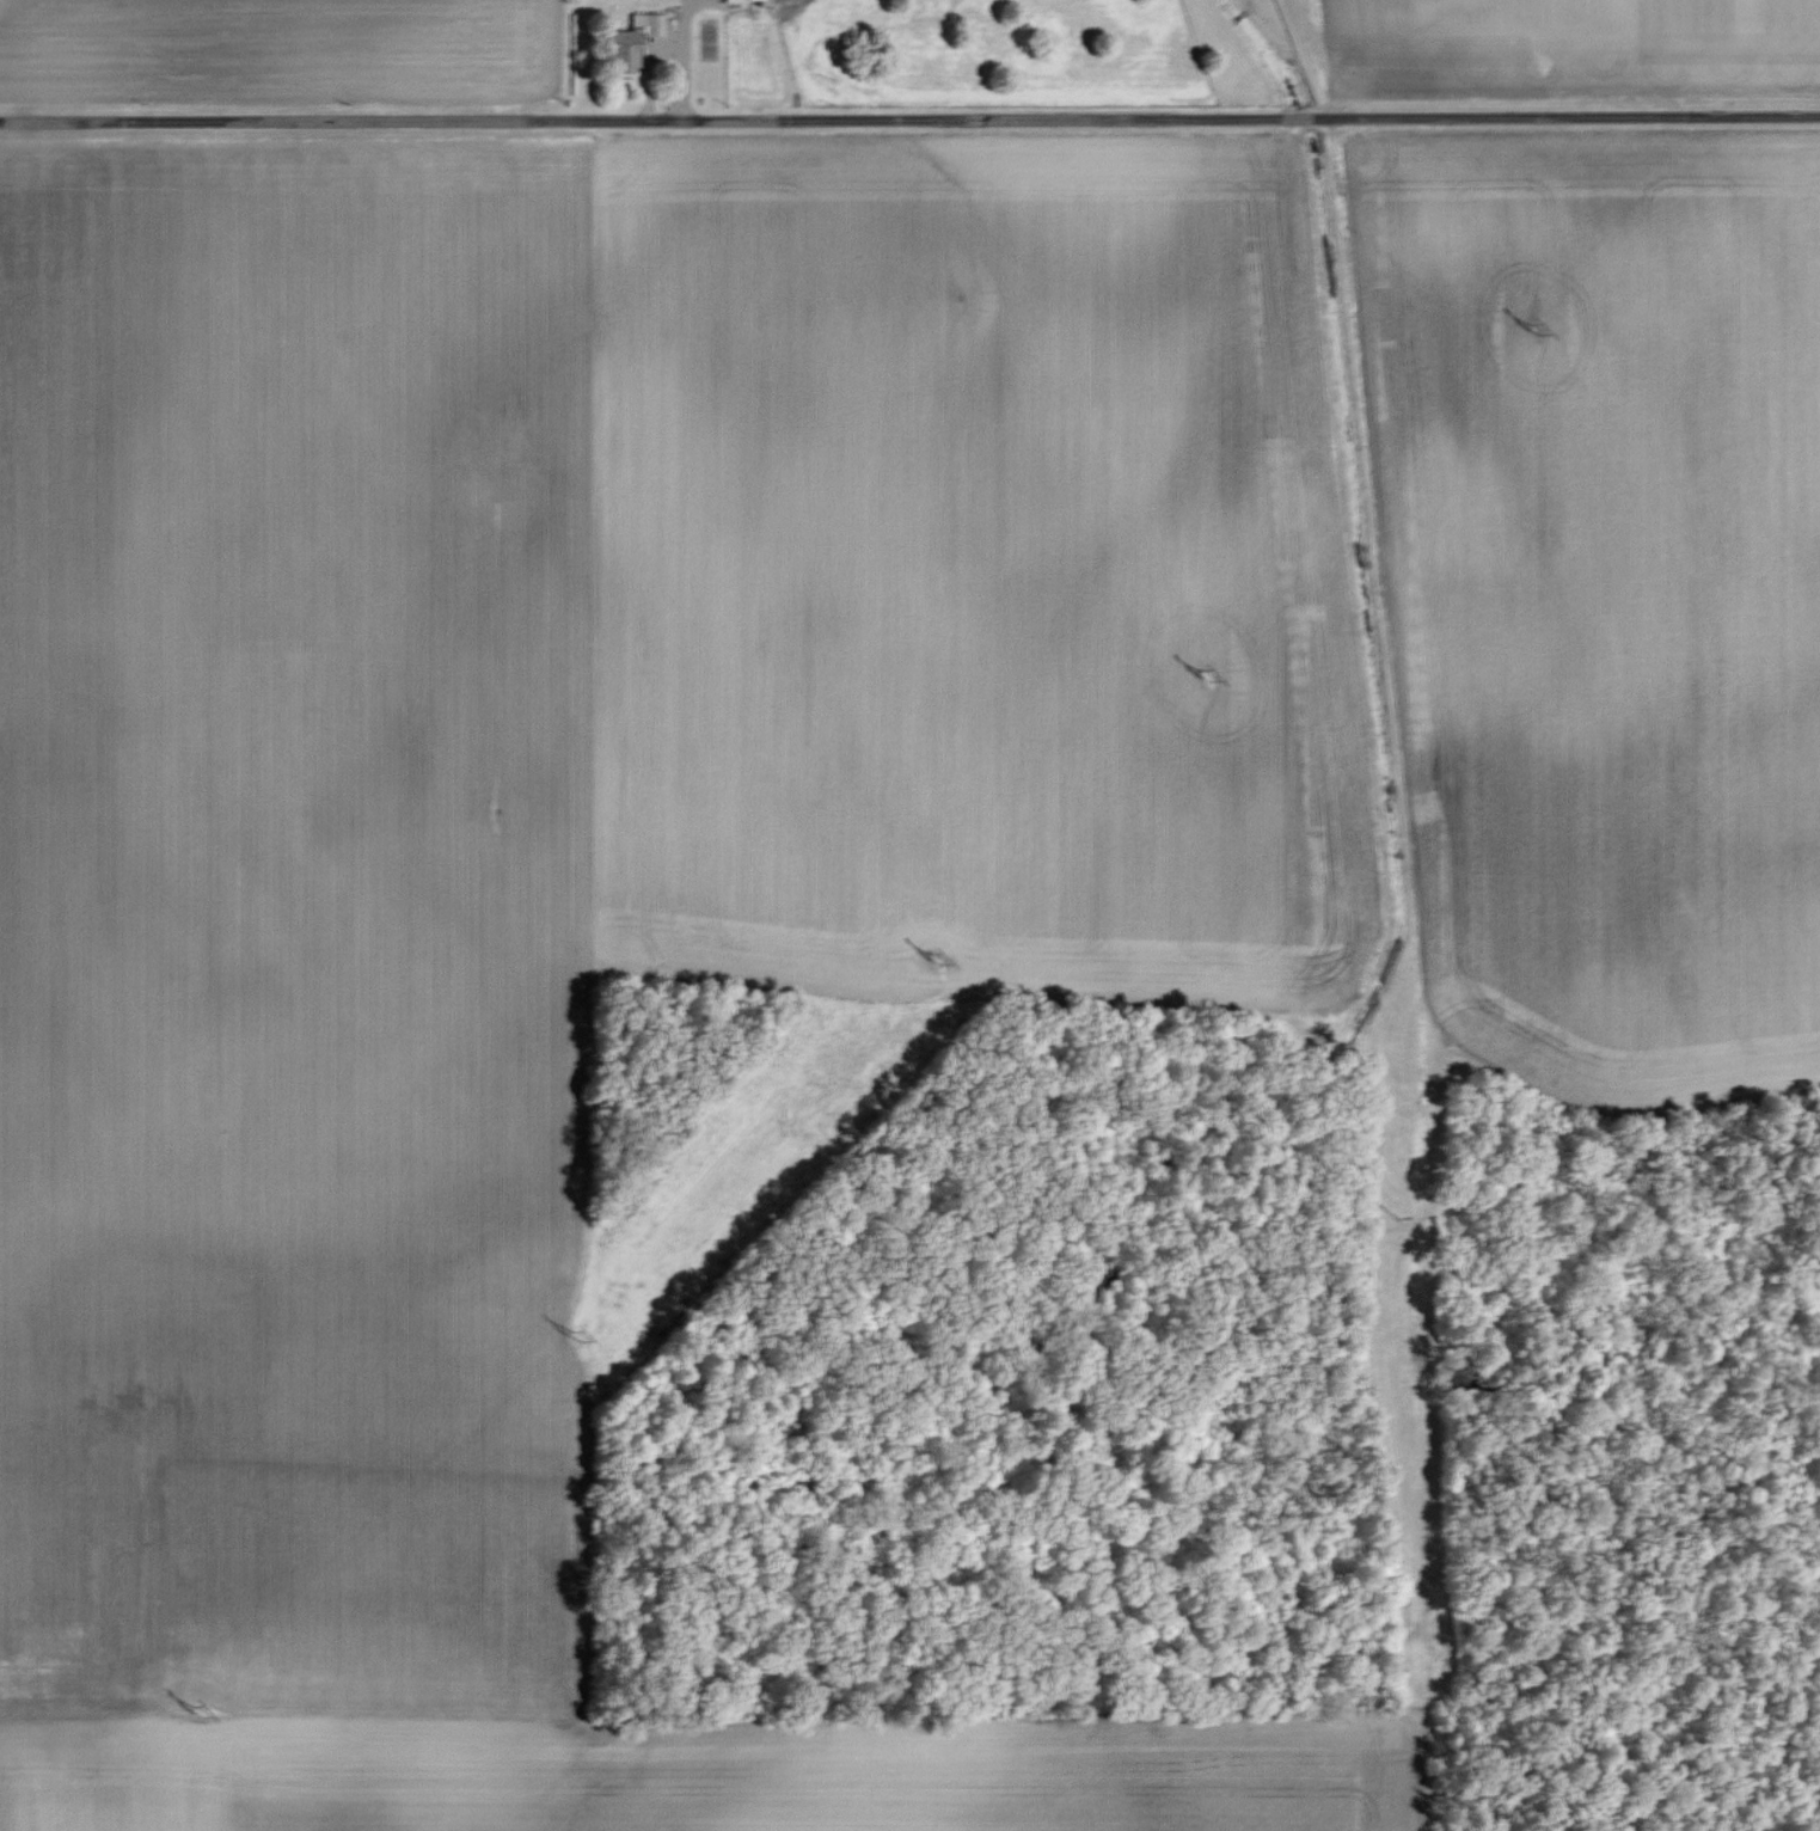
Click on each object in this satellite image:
building: (743, 0)
road: (684, 30)
building: (631, 41)
road: (667, 54)
road: (909, 122)
power tower: (1532, 330)
power tower: (1202, 675)
power tower: (932, 960)
power tower: (576, 1346)
power tower: (196, 1715)

